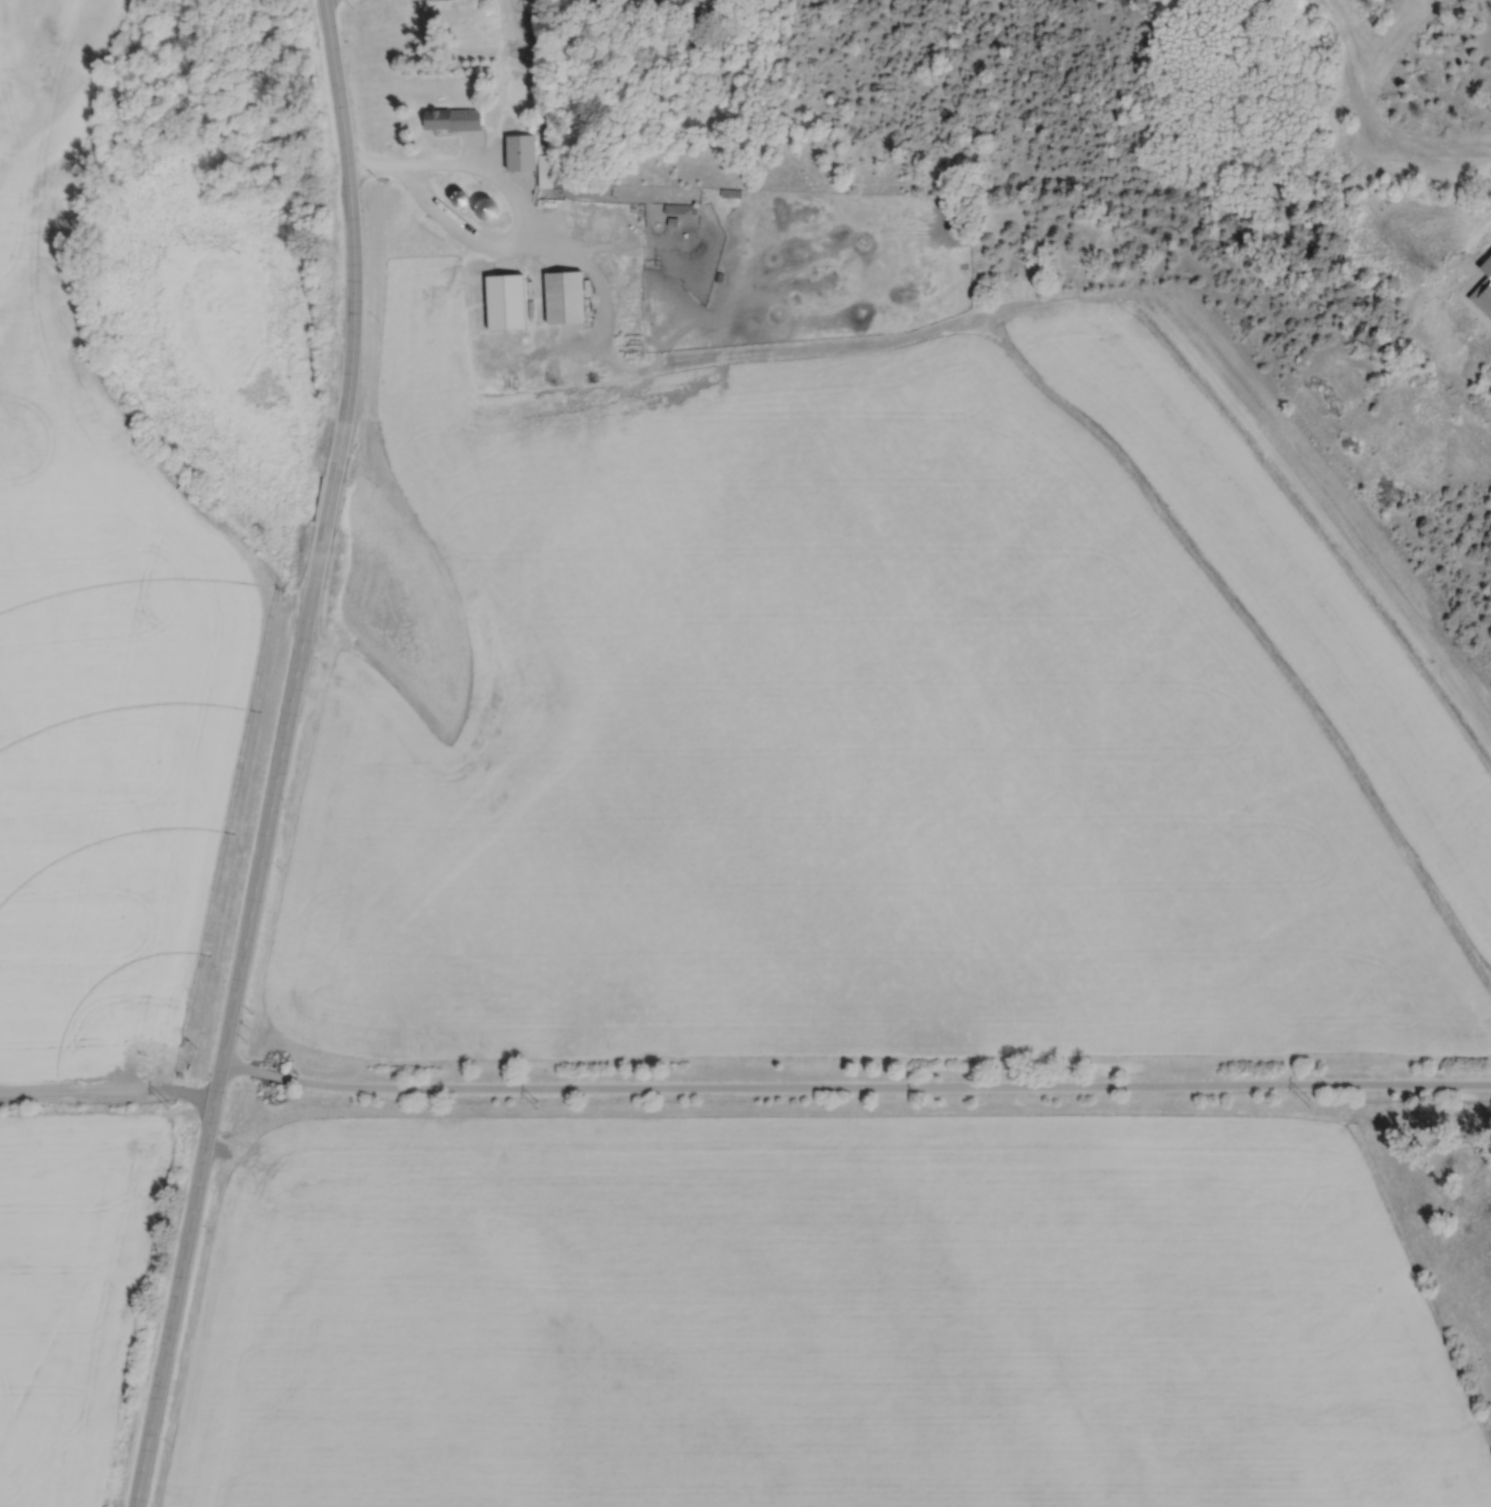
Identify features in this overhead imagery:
building: (449, 120)
building: (518, 154)
building: (544, 171)
building: (456, 200)
road: (517, 204)
building: (482, 210)
building: (793, 213)
building: (561, 298)
building: (502, 303)
road: (280, 756)
road: (854, 1085)
power tower: (1308, 1100)
power tower: (922, 1102)
power tower: (167, 1104)
power tower: (536, 1104)

